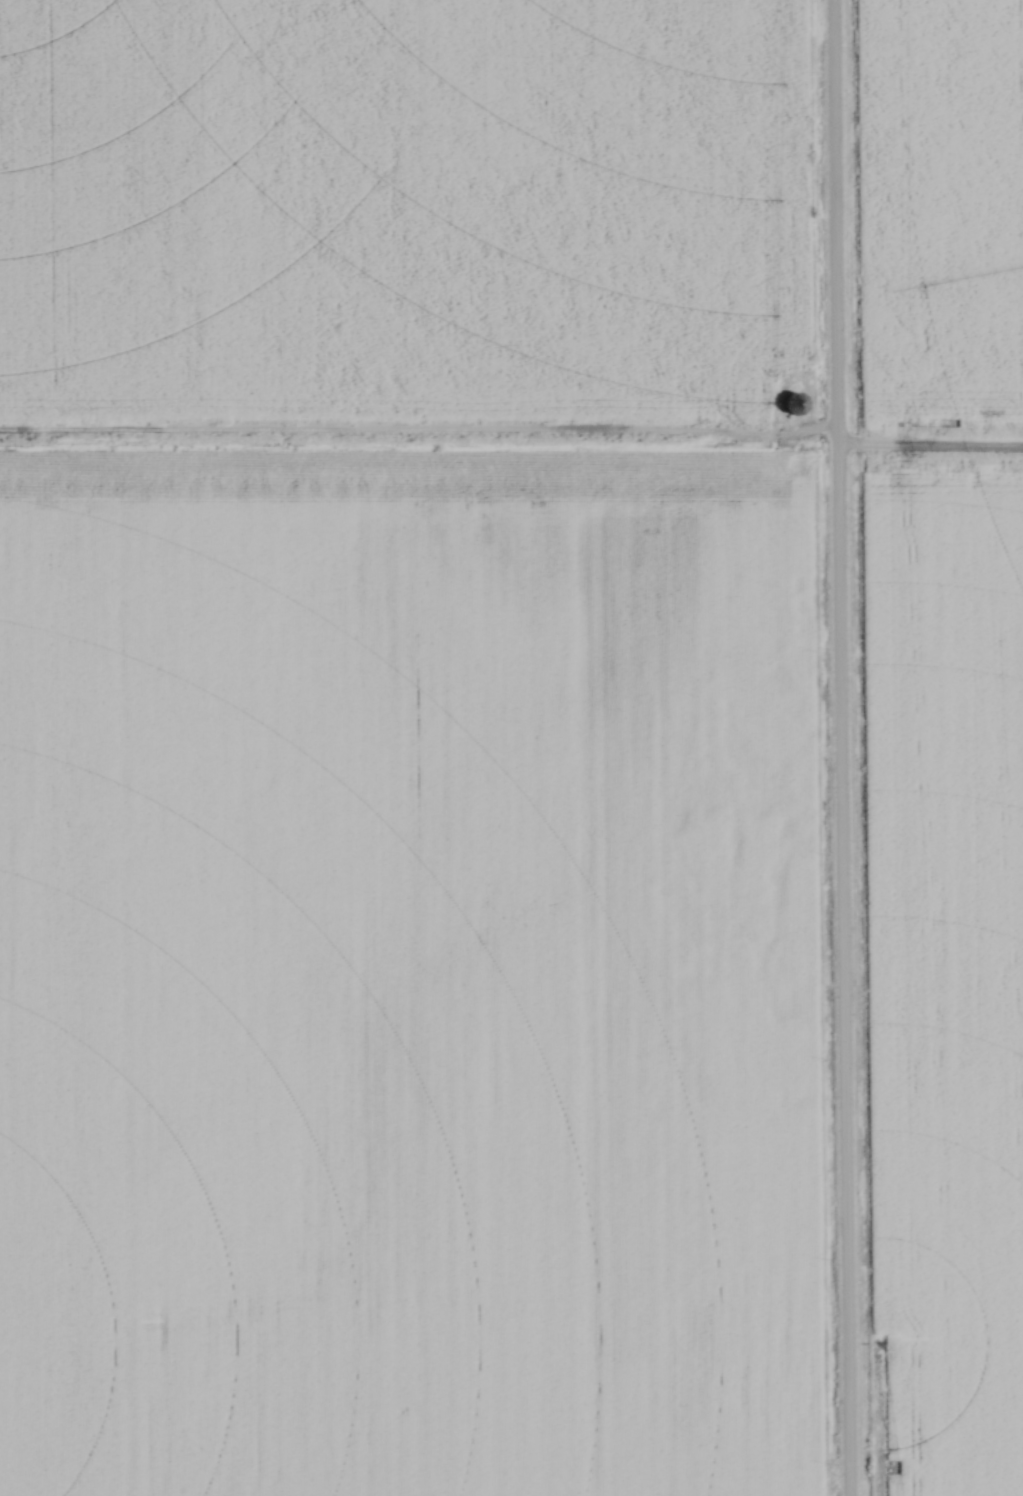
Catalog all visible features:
building: (792, 405)
road: (839, 748)

